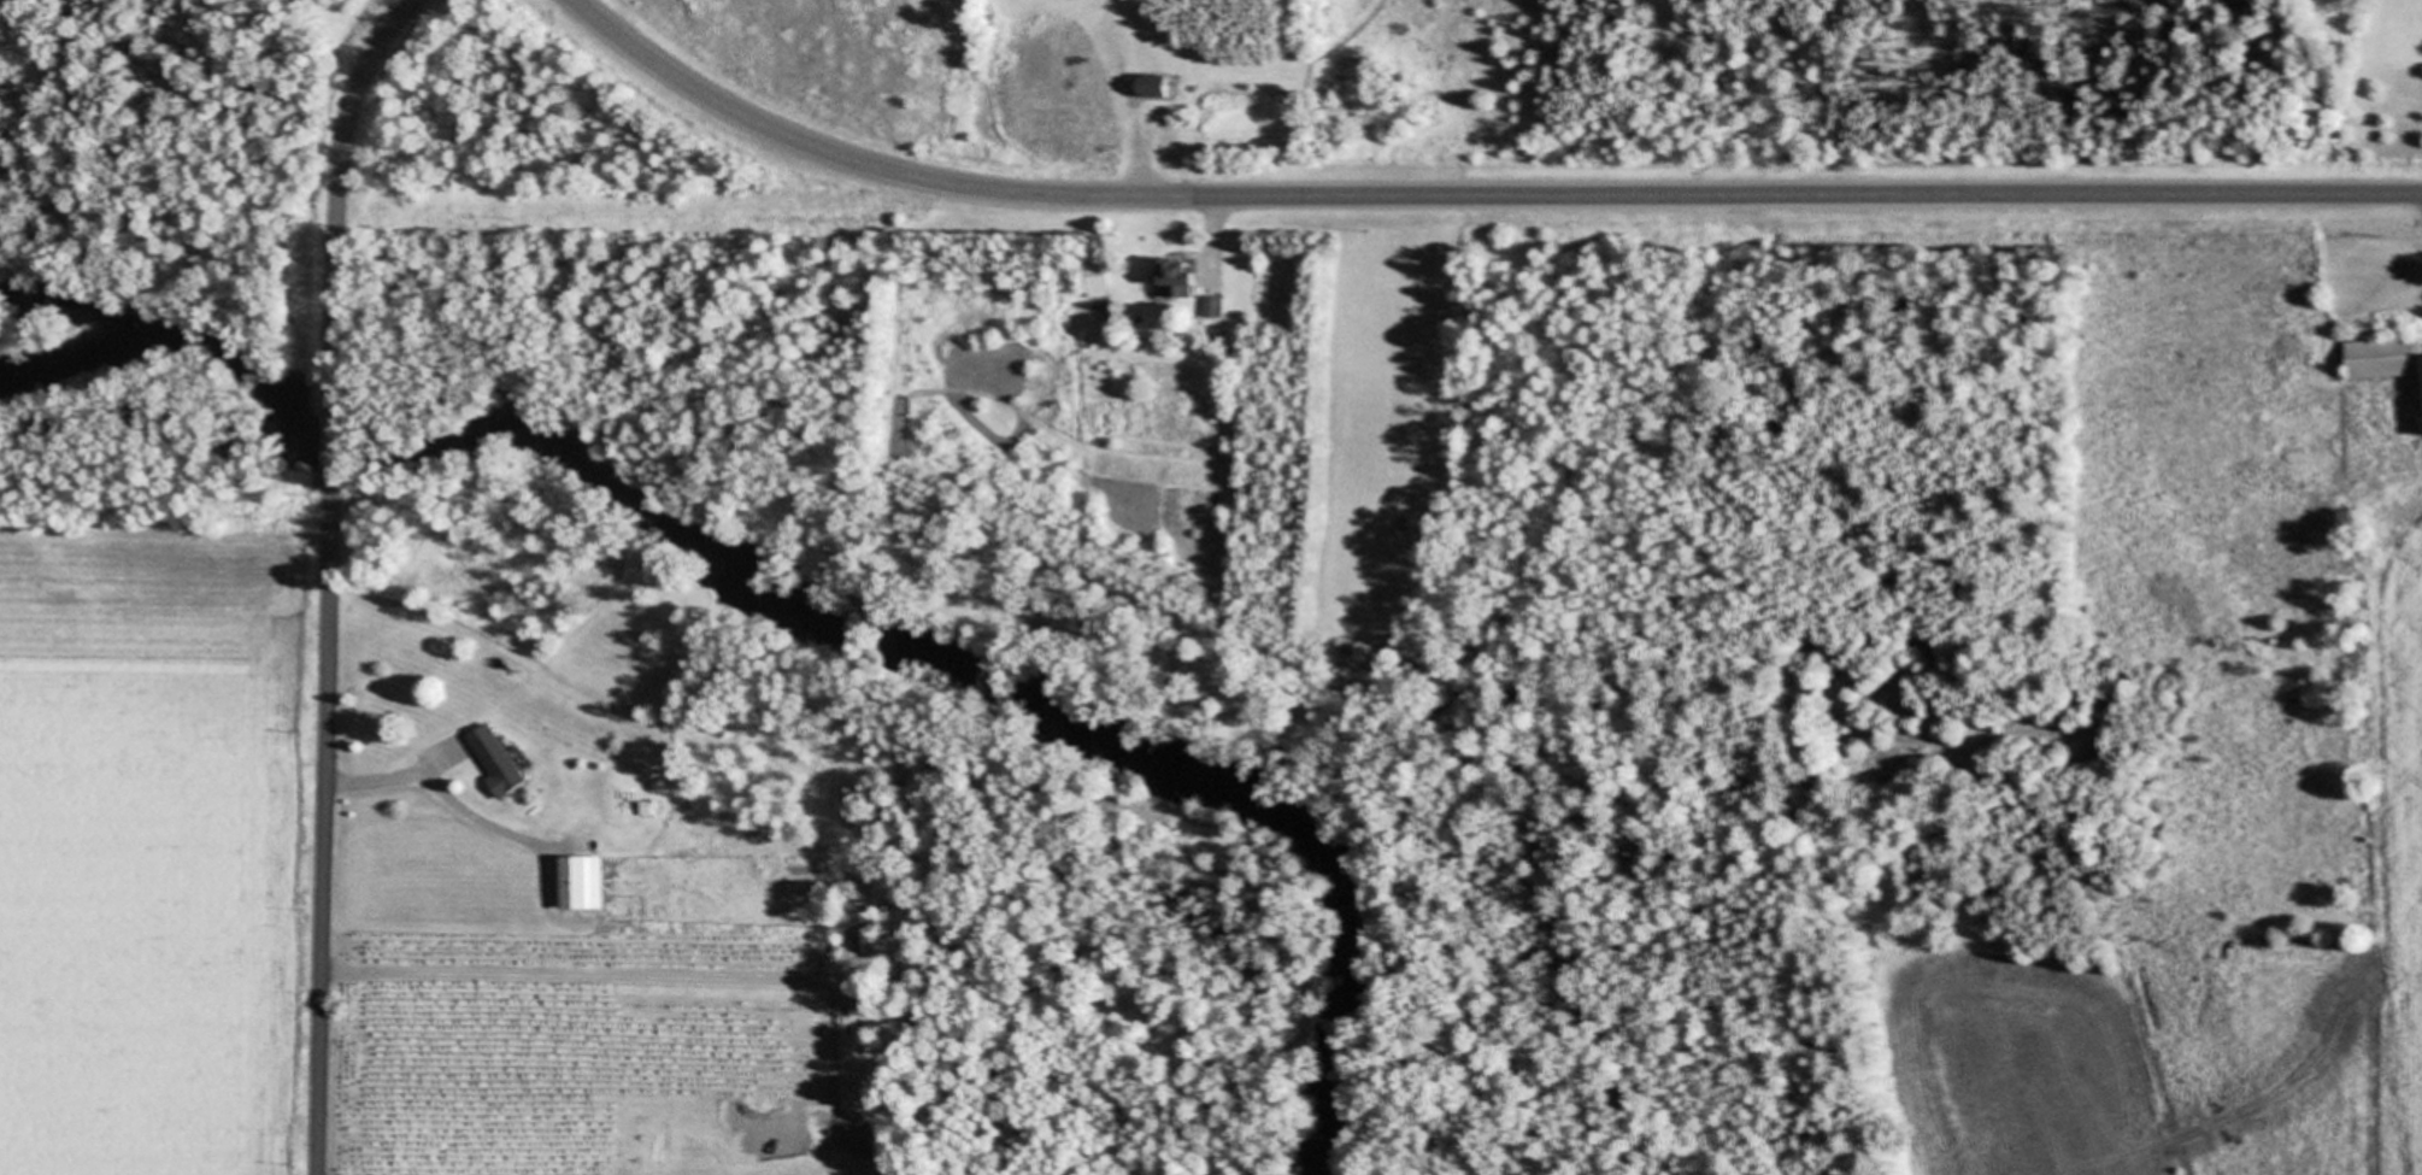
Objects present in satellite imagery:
building: (1158, 86)
building: (1093, 95)
road: (1135, 164)
road: (336, 189)
road: (1474, 194)
road: (1215, 227)
building: (1182, 275)
building: (1098, 278)
building: (2385, 358)
road: (329, 447)
river: (787, 603)
building: (500, 758)
road: (433, 783)
road: (321, 834)
building: (582, 882)

